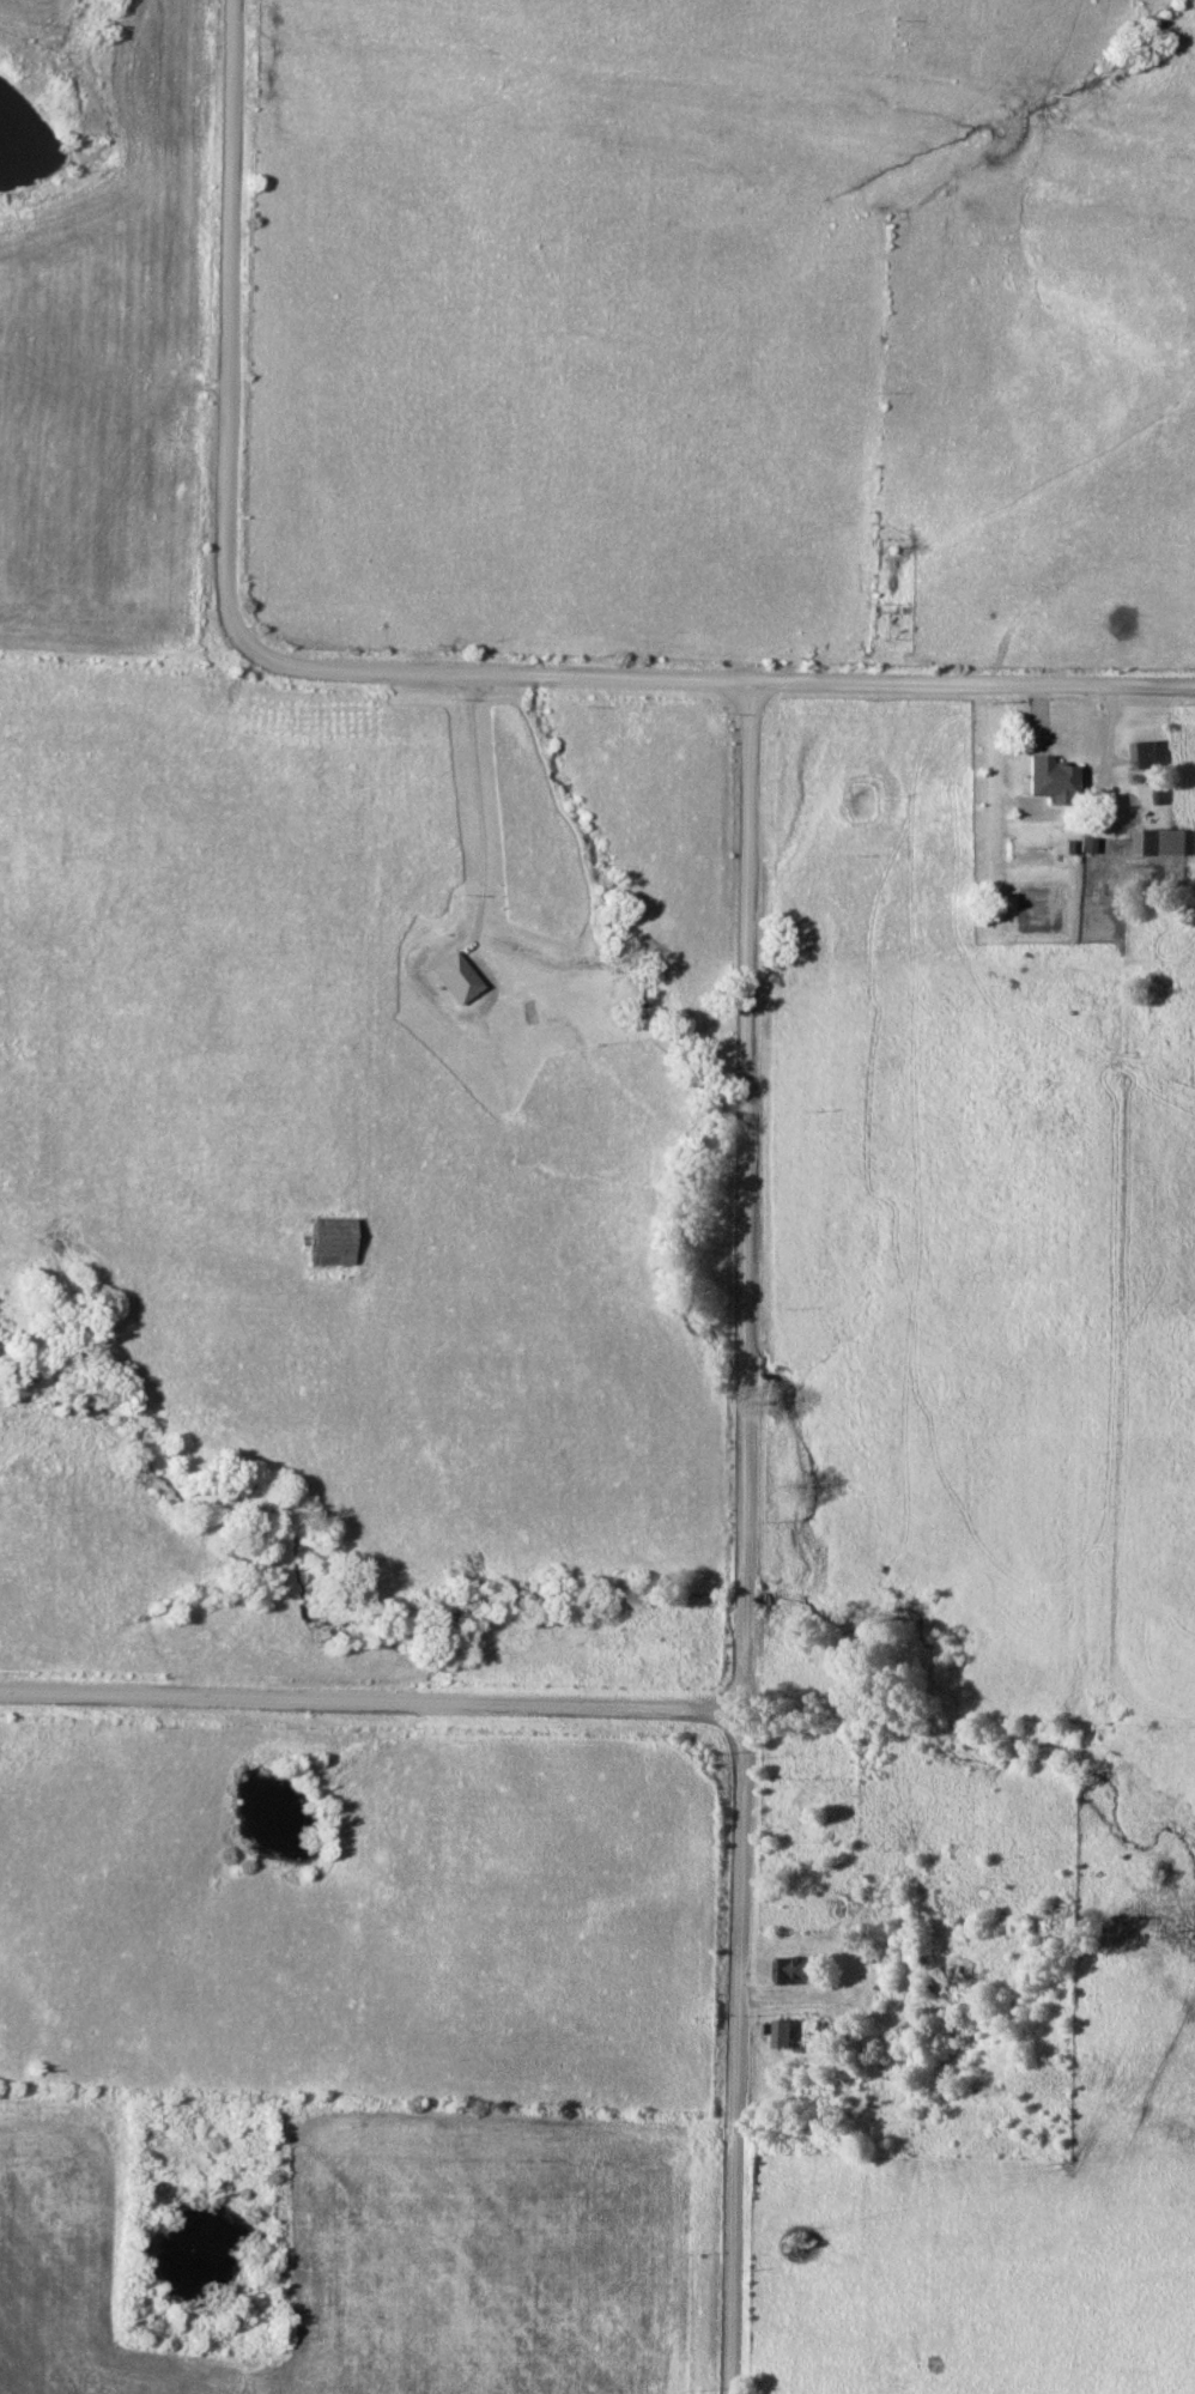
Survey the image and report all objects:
road: (230, 251)
road: (645, 679)
building: (1147, 756)
building: (1054, 781)
building: (1146, 795)
road: (475, 807)
building: (1160, 843)
building: (333, 1241)
road: (748, 1538)
road: (374, 1705)
building: (1054, 1926)
building: (795, 1970)
building: (784, 2034)
building: (847, 2065)

